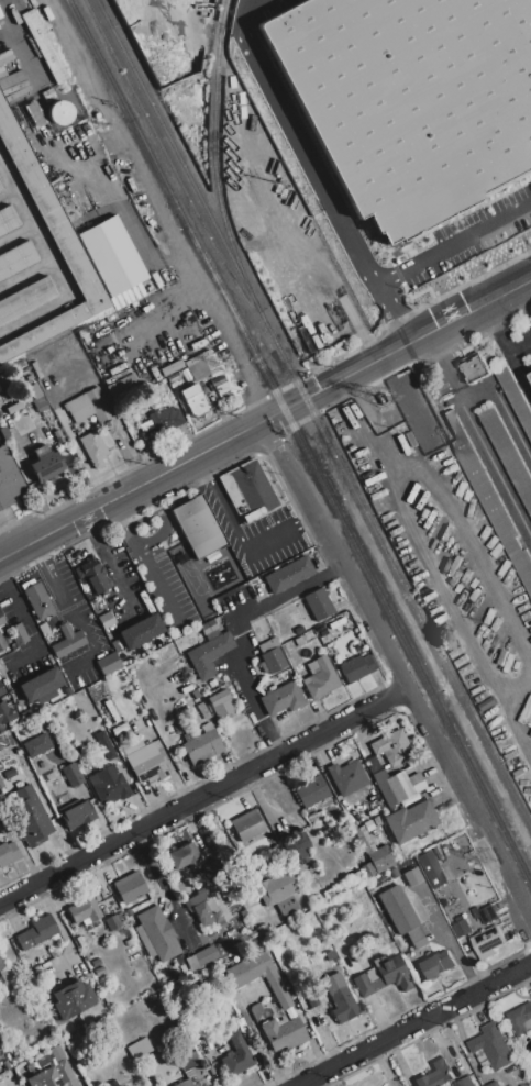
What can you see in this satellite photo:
building: (44, 47)
building: (14, 84)
building: (409, 99)
power tower: (102, 125)
railway: (215, 143)
road: (317, 171)
railway: (189, 175)
building: (78, 223)
road: (453, 245)
building: (37, 256)
building: (110, 257)
road: (56, 263)
building: (126, 296)
road: (201, 308)
road: (161, 313)
road: (502, 337)
building: (75, 344)
road: (395, 347)
road: (445, 366)
power tower: (229, 367)
building: (170, 368)
building: (475, 368)
building: (198, 370)
road: (521, 373)
building: (0, 380)
building: (157, 389)
building: (123, 390)
building: (516, 398)
building: (195, 400)
power tower: (383, 401)
building: (40, 405)
building: (230, 406)
building: (90, 407)
railway: (312, 411)
road: (504, 412)
building: (166, 419)
road: (375, 421)
building: (146, 426)
building: (431, 428)
building: (4, 433)
building: (151, 434)
railway: (300, 441)
building: (93, 448)
building: (507, 453)
building: (46, 464)
road: (496, 470)
building: (8, 480)
road: (130, 487)
building: (248, 490)
road: (219, 503)
building: (496, 514)
road: (162, 520)
road: (121, 524)
building: (199, 527)
road: (279, 535)
building: (212, 556)
road: (474, 558)
road: (104, 565)
building: (289, 575)
building: (93, 576)
road: (57, 580)
road: (154, 587)
building: (38, 601)
road: (446, 601)
building: (318, 605)
building: (1, 620)
building: (107, 620)
road: (27, 624)
building: (208, 628)
building: (141, 631)
building: (18, 634)
road: (241, 636)
building: (305, 639)
building: (65, 640)
building: (4, 641)
building: (117, 645)
building: (355, 647)
building: (209, 654)
building: (272, 655)
building: (108, 664)
building: (356, 668)
road: (397, 671)
building: (320, 677)
building: (5, 683)
building: (212, 684)
building: (41, 685)
building: (204, 688)
building: (1, 689)
building: (281, 699)
building: (144, 701)
building: (221, 705)
building: (5, 713)
building: (25, 713)
road: (512, 725)
building: (119, 729)
building: (36, 745)
building: (104, 745)
building: (202, 746)
building: (391, 747)
building: (79, 755)
building: (145, 762)
building: (41, 765)
building: (71, 775)
building: (52, 777)
building: (346, 777)
building: (1, 784)
building: (109, 786)
building: (398, 786)
building: (311, 790)
road: (203, 797)
building: (370, 812)
building: (29, 816)
building: (77, 816)
building: (311, 818)
building: (376, 821)
building: (410, 821)
building: (246, 825)
building: (339, 827)
building: (368, 827)
building: (297, 846)
road: (20, 847)
building: (8, 854)
building: (185, 856)
building: (380, 856)
power tower: (486, 856)
building: (211, 867)
building: (431, 869)
building: (368, 871)
building: (297, 872)
building: (394, 873)
building: (355, 876)
building: (412, 876)
building: (129, 887)
road: (164, 888)
building: (278, 893)
building: (203, 909)
building: (397, 909)
building: (84, 911)
building: (484, 911)
building: (126, 913)
building: (244, 913)
building: (112, 922)
building: (461, 926)
road: (62, 929)
building: (263, 929)
building: (385, 930)
building: (37, 932)
building: (349, 932)
building: (158, 934)
building: (414, 934)
building: (387, 935)
building: (336, 939)
building: (79, 941)
building: (144, 941)
building: (391, 941)
building: (487, 941)
building: (129, 942)
building: (419, 943)
building: (277, 945)
building: (334, 945)
building: (353, 945)
building: (192, 949)
building: (220, 951)
building: (179, 961)
building: (199, 962)
building: (350, 962)
building: (95, 963)
building: (191, 963)
building: (1, 964)
building: (435, 964)
building: (185, 968)
building: (340, 969)
building: (99, 971)
building: (383, 976)
building: (274, 984)
building: (340, 998)
building: (311, 999)
building: (70, 1000)
building: (230, 1011)
building: (257, 1011)
building: (520, 1018)
building: (76, 1022)
road: (416, 1024)
building: (283, 1034)
road: (259, 1041)
building: (491, 1046)
building: (139, 1049)
building: (56, 1053)
building: (236, 1055)
building: (186, 1062)
building: (7, 1064)
building: (519, 1071)
building: (435, 1074)
building: (54, 1076)
building: (530, 1076)
building: (464, 1082)
building: (526, 1082)
building: (113, 1083)
building: (187, 1083)
building: (494, 1084)

